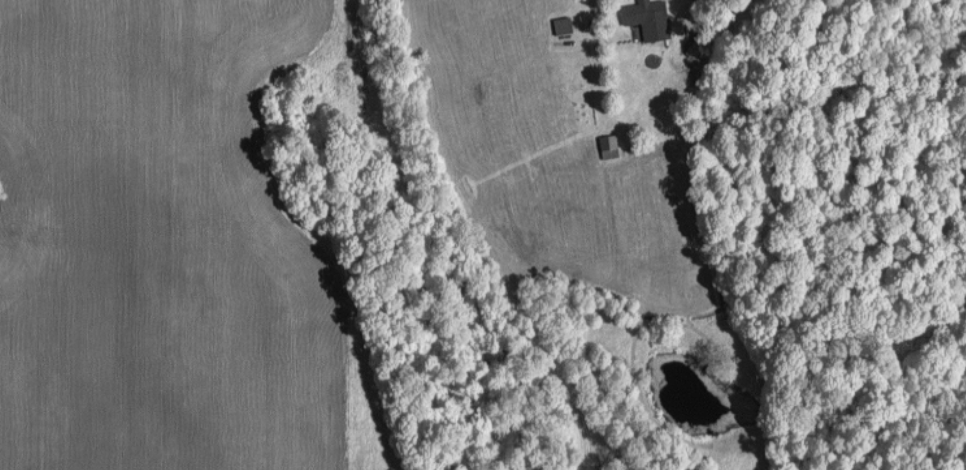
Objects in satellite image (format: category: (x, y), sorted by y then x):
road: (588, 11)
building: (650, 17)
building: (565, 23)
building: (611, 145)

